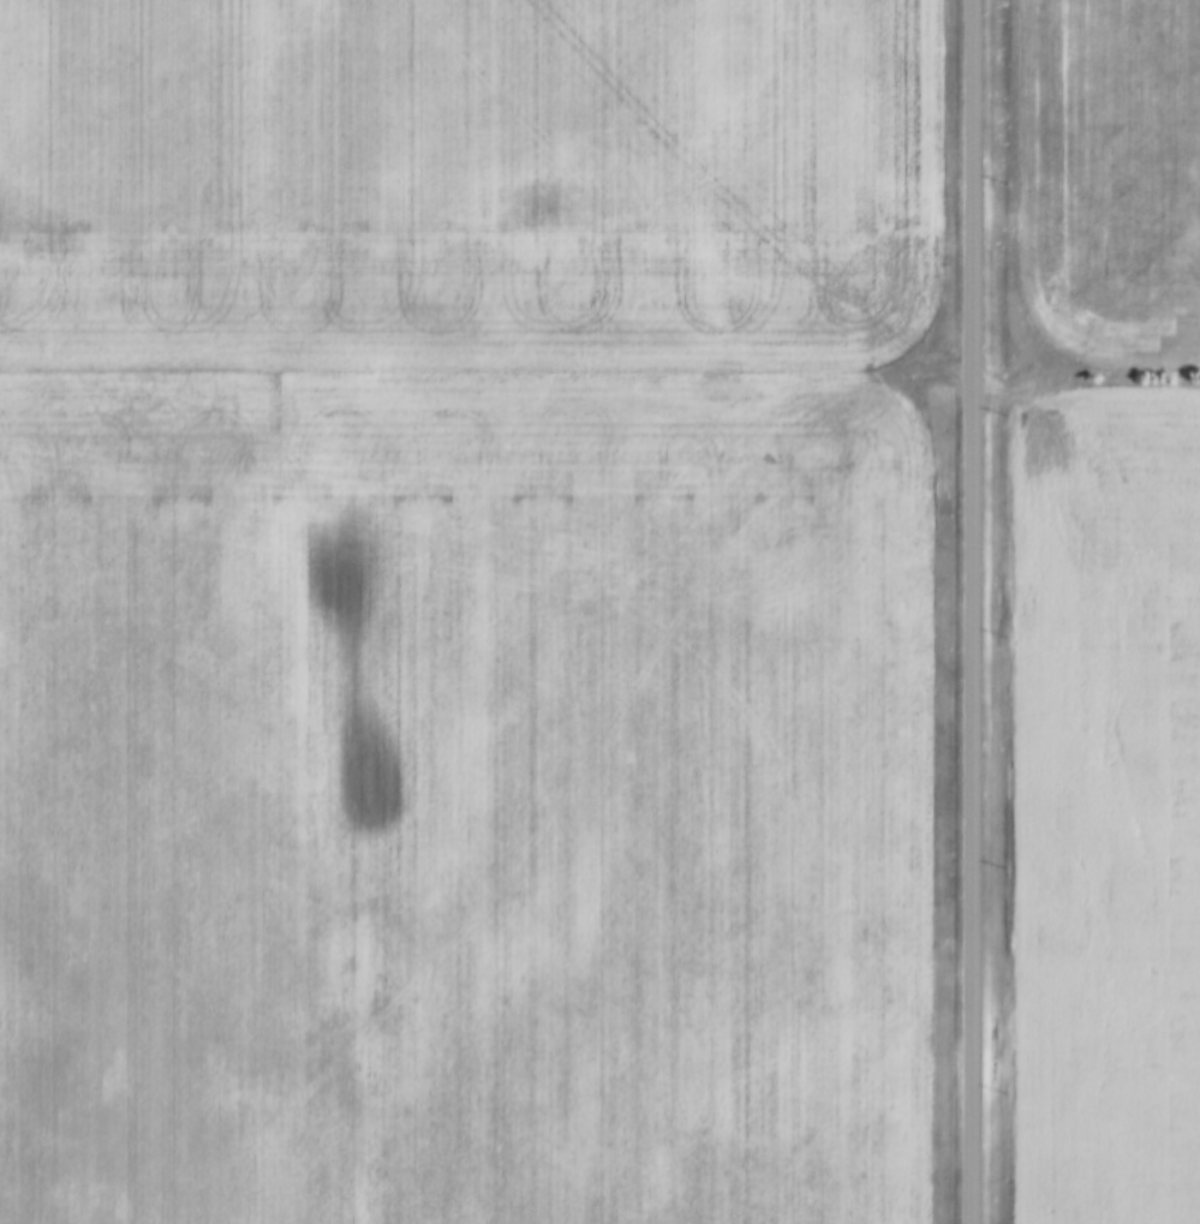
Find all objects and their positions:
road: (972, 611)

